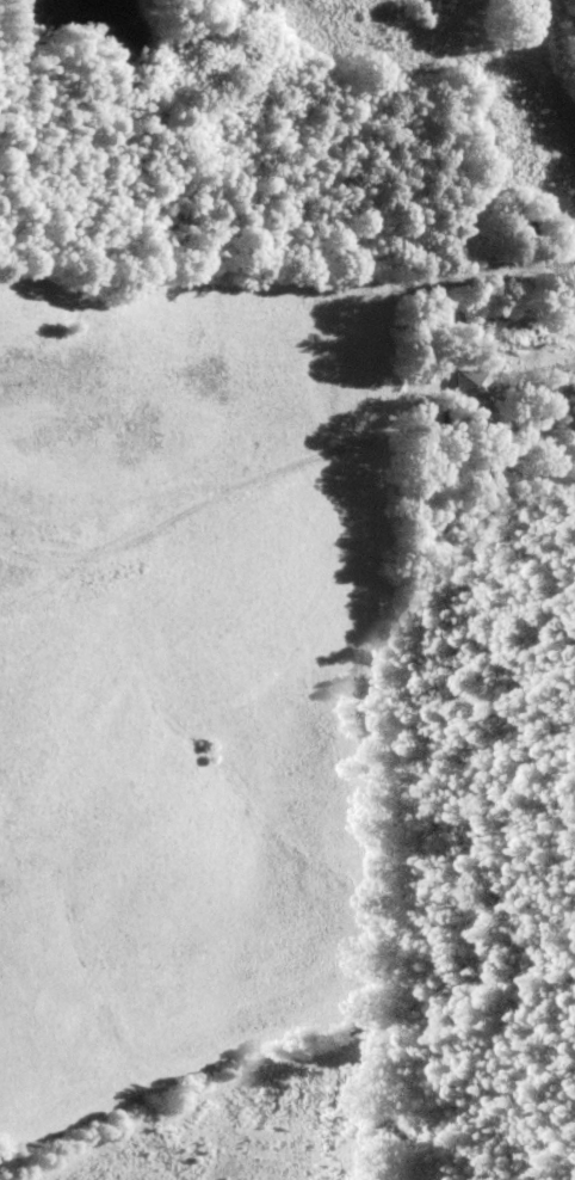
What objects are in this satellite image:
road: (285, 467)

